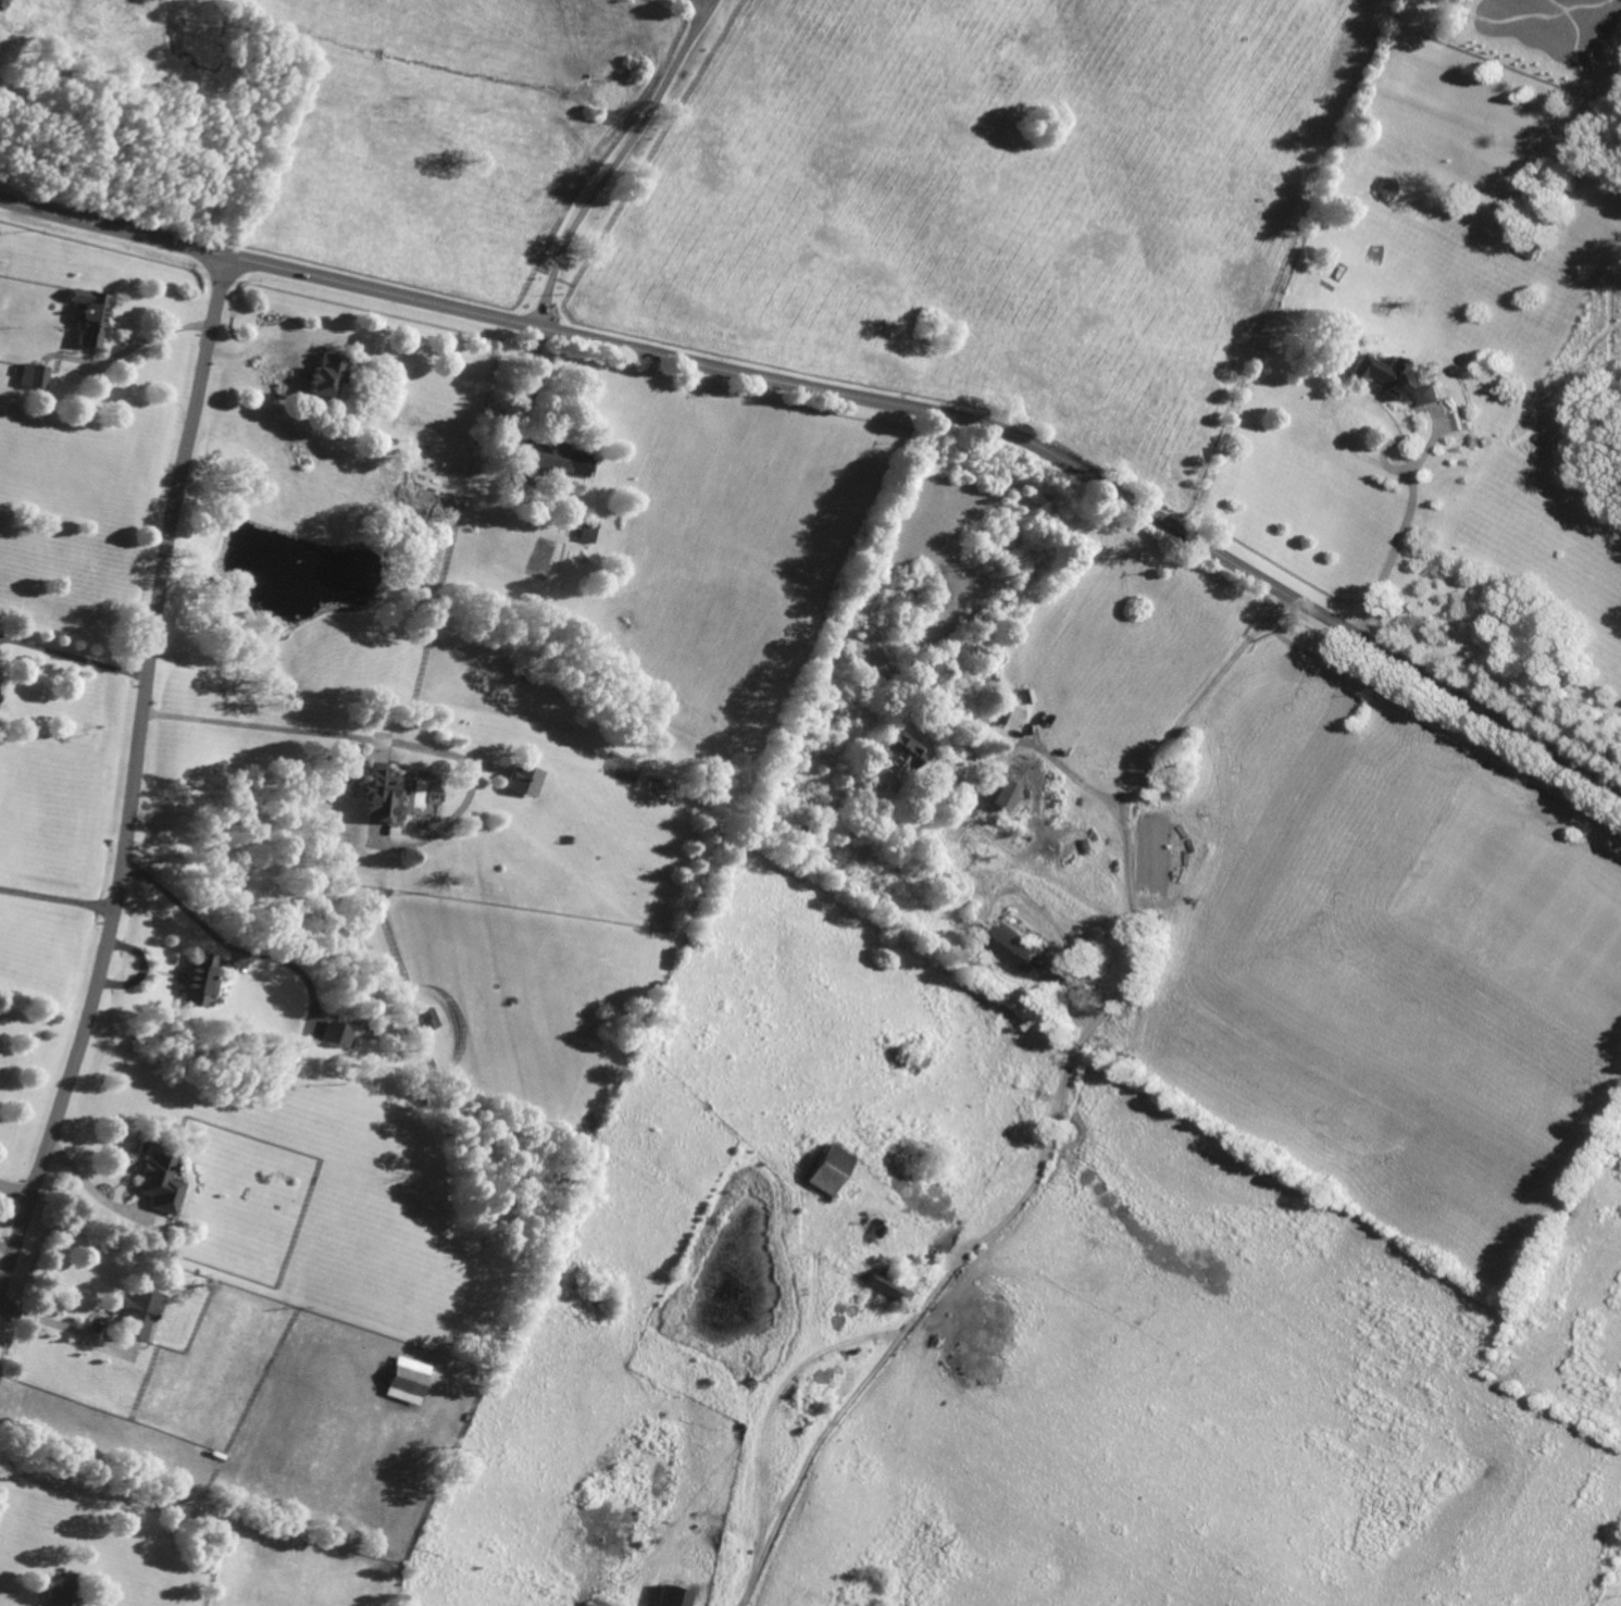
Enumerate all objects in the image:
road: (623, 158)
building: (1529, 246)
building: (90, 319)
road: (285, 336)
building: (326, 376)
building: (34, 377)
building: (1398, 382)
road: (850, 396)
road: (1405, 444)
building: (558, 460)
building: (589, 533)
road: (80, 659)
road: (265, 729)
road: (1056, 759)
building: (895, 763)
building: (525, 780)
road: (134, 783)
building: (383, 795)
building: (1008, 795)
road: (58, 899)
road: (223, 942)
building: (1019, 947)
building: (199, 981)
building: (432, 1019)
road: (1495, 1033)
building: (336, 1034)
road: (1064, 1104)
building: (830, 1170)
building: (160, 1181)
road: (16, 1188)
road: (8, 1248)
building: (888, 1288)
building: (139, 1311)
road: (49, 1322)
building: (408, 1381)
building: (68, 1581)
building: (59, 1597)
building: (670, 1597)

